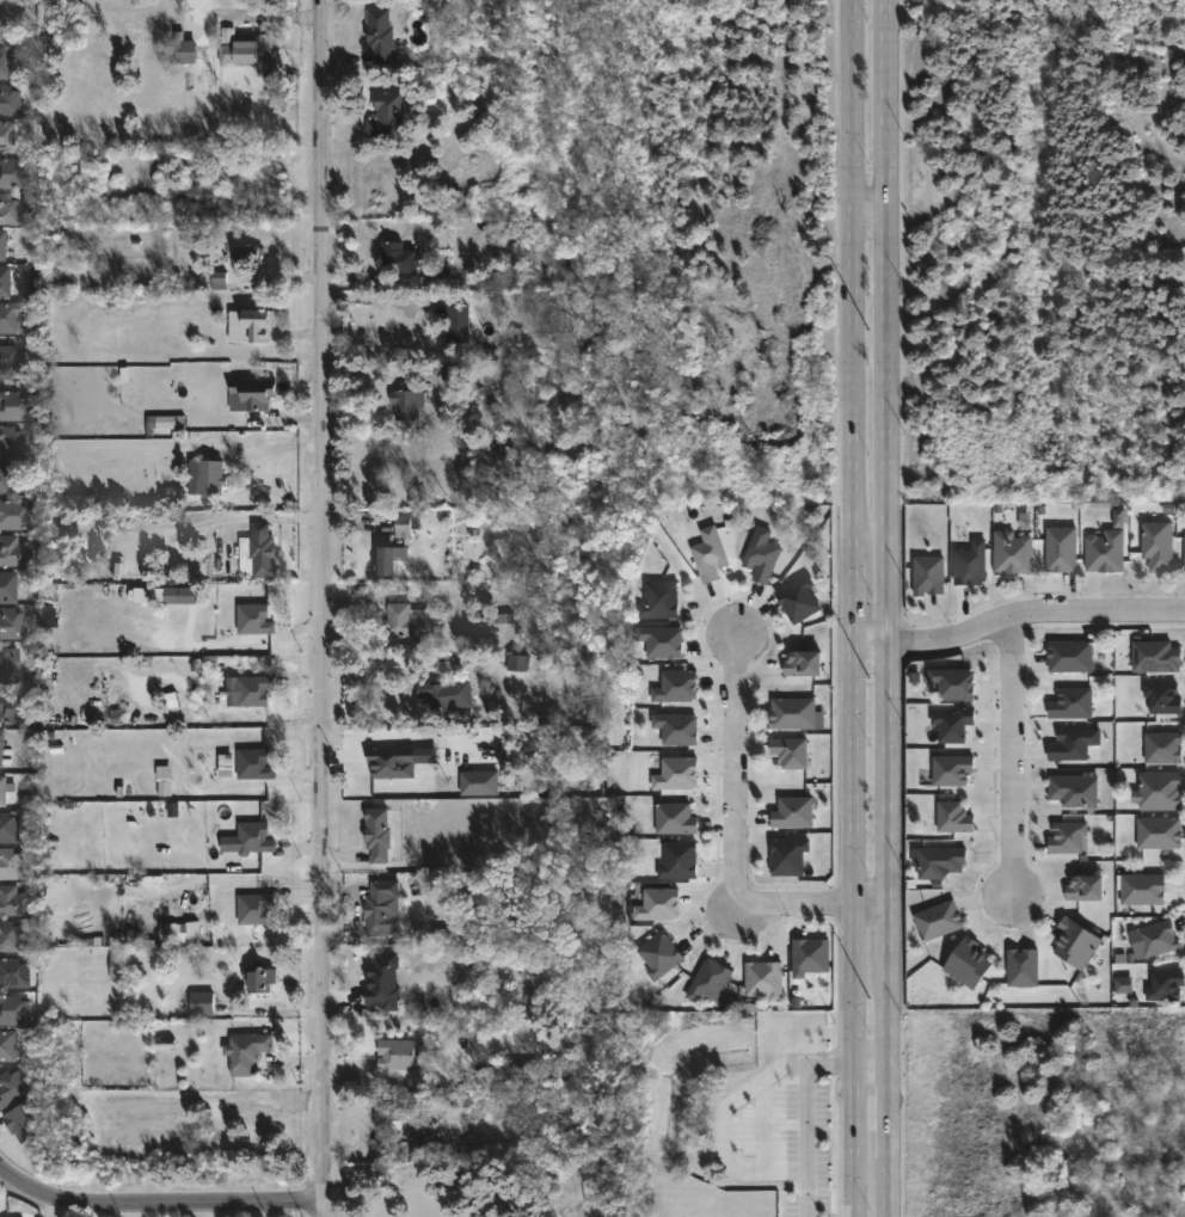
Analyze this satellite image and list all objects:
building: (2, 26)
building: (377, 33)
building: (227, 36)
building: (186, 51)
building: (256, 53)
building: (4, 63)
building: (11, 100)
building: (385, 115)
building: (7, 136)
building: (14, 174)
road: (871, 203)
building: (12, 210)
building: (4, 244)
building: (242, 254)
building: (395, 258)
building: (217, 281)
building: (6, 283)
road: (376, 297)
building: (10, 319)
road: (853, 321)
road: (888, 321)
building: (454, 324)
building: (254, 326)
building: (16, 361)
building: (250, 394)
building: (404, 404)
building: (16, 406)
building: (167, 422)
building: (13, 442)
building: (214, 475)
building: (7, 478)
building: (16, 516)
building: (1117, 518)
road: (220, 521)
building: (406, 524)
building: (1156, 545)
building: (1058, 548)
building: (1011, 551)
building: (16, 552)
building: (263, 552)
building: (1104, 552)
building: (708, 554)
building: (1184, 554)
building: (761, 555)
building: (386, 557)
building: (970, 565)
building: (928, 576)
building: (10, 586)
building: (165, 595)
building: (659, 600)
building: (798, 600)
road: (319, 608)
road: (1033, 611)
building: (252, 617)
building: (49, 620)
building: (407, 620)
building: (493, 622)
building: (12, 623)
building: (661, 641)
road: (870, 644)
building: (1069, 654)
building: (1154, 654)
building: (10, 660)
road: (383, 660)
building: (800, 662)
building: (521, 663)
building: (953, 683)
building: (675, 687)
building: (252, 689)
building: (431, 694)
building: (1161, 696)
building: (1070, 702)
building: (13, 706)
building: (791, 712)
building: (952, 725)
building: (676, 729)
building: (1073, 744)
building: (1161, 746)
building: (2, 750)
building: (788, 751)
road: (1013, 757)
building: (398, 761)
building: (253, 763)
building: (950, 768)
building: (676, 774)
road: (888, 774)
building: (478, 782)
building: (5, 789)
building: (1073, 789)
building: (1156, 791)
building: (791, 811)
building: (952, 817)
building: (673, 818)
building: (12, 826)
building: (1158, 832)
building: (375, 834)
building: (251, 836)
building: (1066, 836)
road: (737, 841)
building: (787, 856)
building: (679, 860)
building: (937, 861)
building: (13, 863)
building: (1082, 887)
building: (1141, 887)
building: (16, 901)
building: (657, 904)
building: (376, 905)
building: (252, 908)
building: (937, 920)
road: (853, 930)
road: (889, 932)
building: (179, 934)
building: (458, 934)
building: (13, 935)
building: (1153, 940)
building: (1076, 944)
building: (659, 955)
building: (809, 957)
building: (966, 963)
building: (1021, 966)
building: (17, 973)
building: (256, 978)
building: (763, 979)
building: (708, 981)
building: (382, 982)
building: (1163, 984)
building: (1123, 985)
building: (198, 1003)
building: (14, 1010)
road: (890, 1020)
building: (10, 1045)
building: (244, 1052)
building: (395, 1055)
road: (872, 1082)
building: (13, 1088)
building: (383, 1113)
road: (806, 1118)
road: (890, 1119)
building: (25, 1123)
road: (720, 1129)
road: (890, 1186)
road: (156, 1203)

